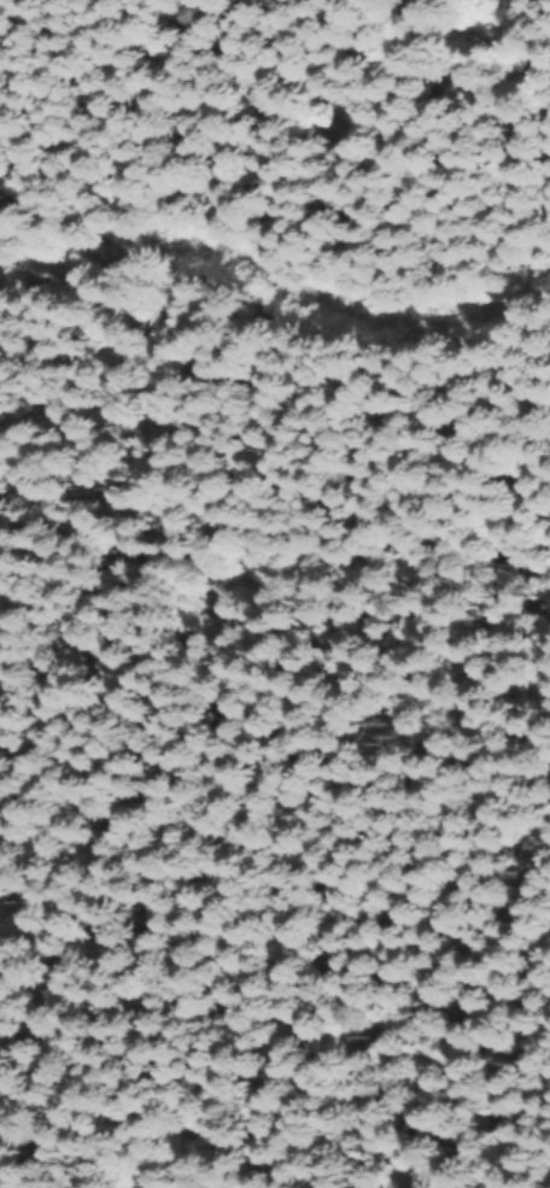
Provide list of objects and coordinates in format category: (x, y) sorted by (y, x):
road: (274, 287)

